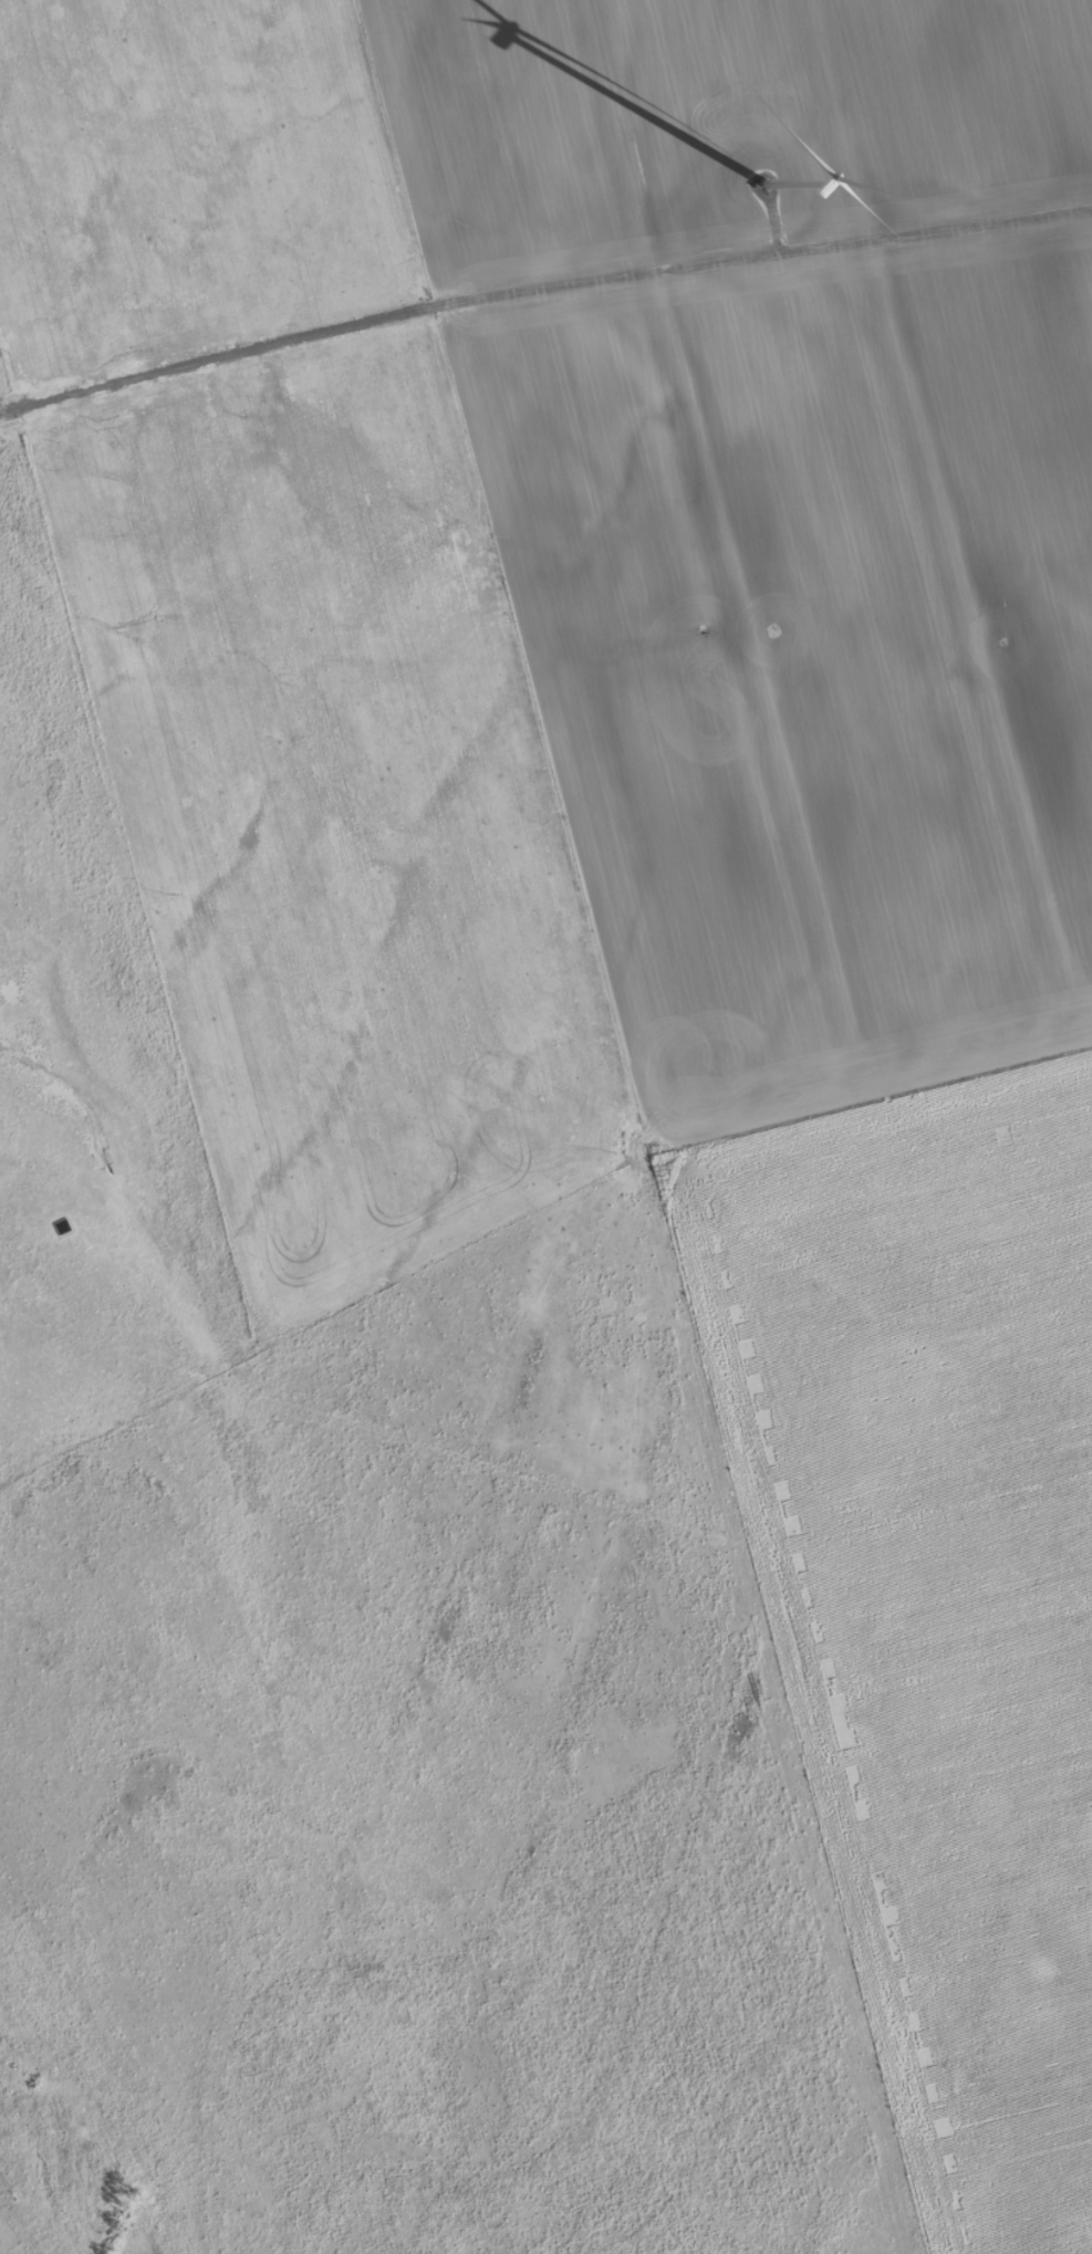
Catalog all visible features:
wind turbine: (762, 188)

